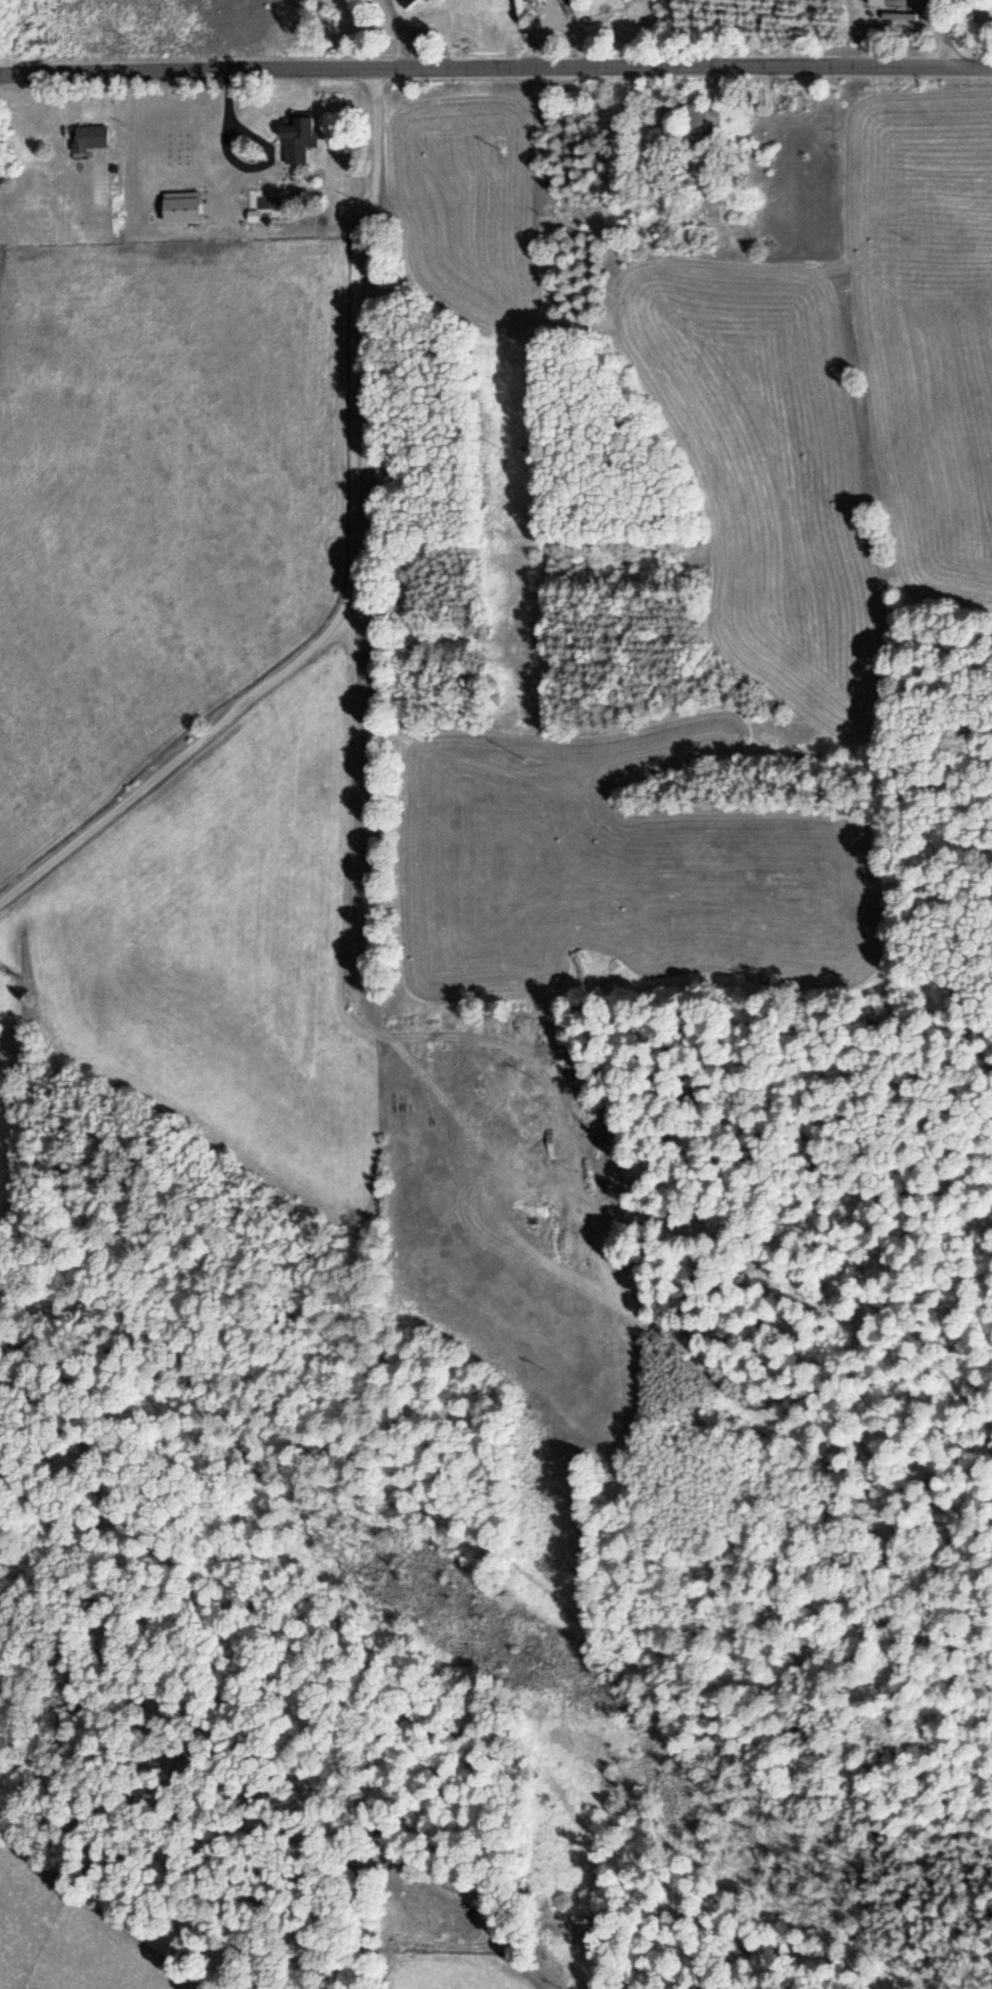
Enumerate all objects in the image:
building: (403, 1)
building: (569, 1)
building: (899, 2)
road: (495, 62)
building: (712, 112)
building: (697, 126)
building: (302, 128)
building: (89, 136)
building: (267, 150)
building: (319, 187)
road: (354, 563)
road: (342, 929)
road: (225, 1702)
building: (436, 1912)

